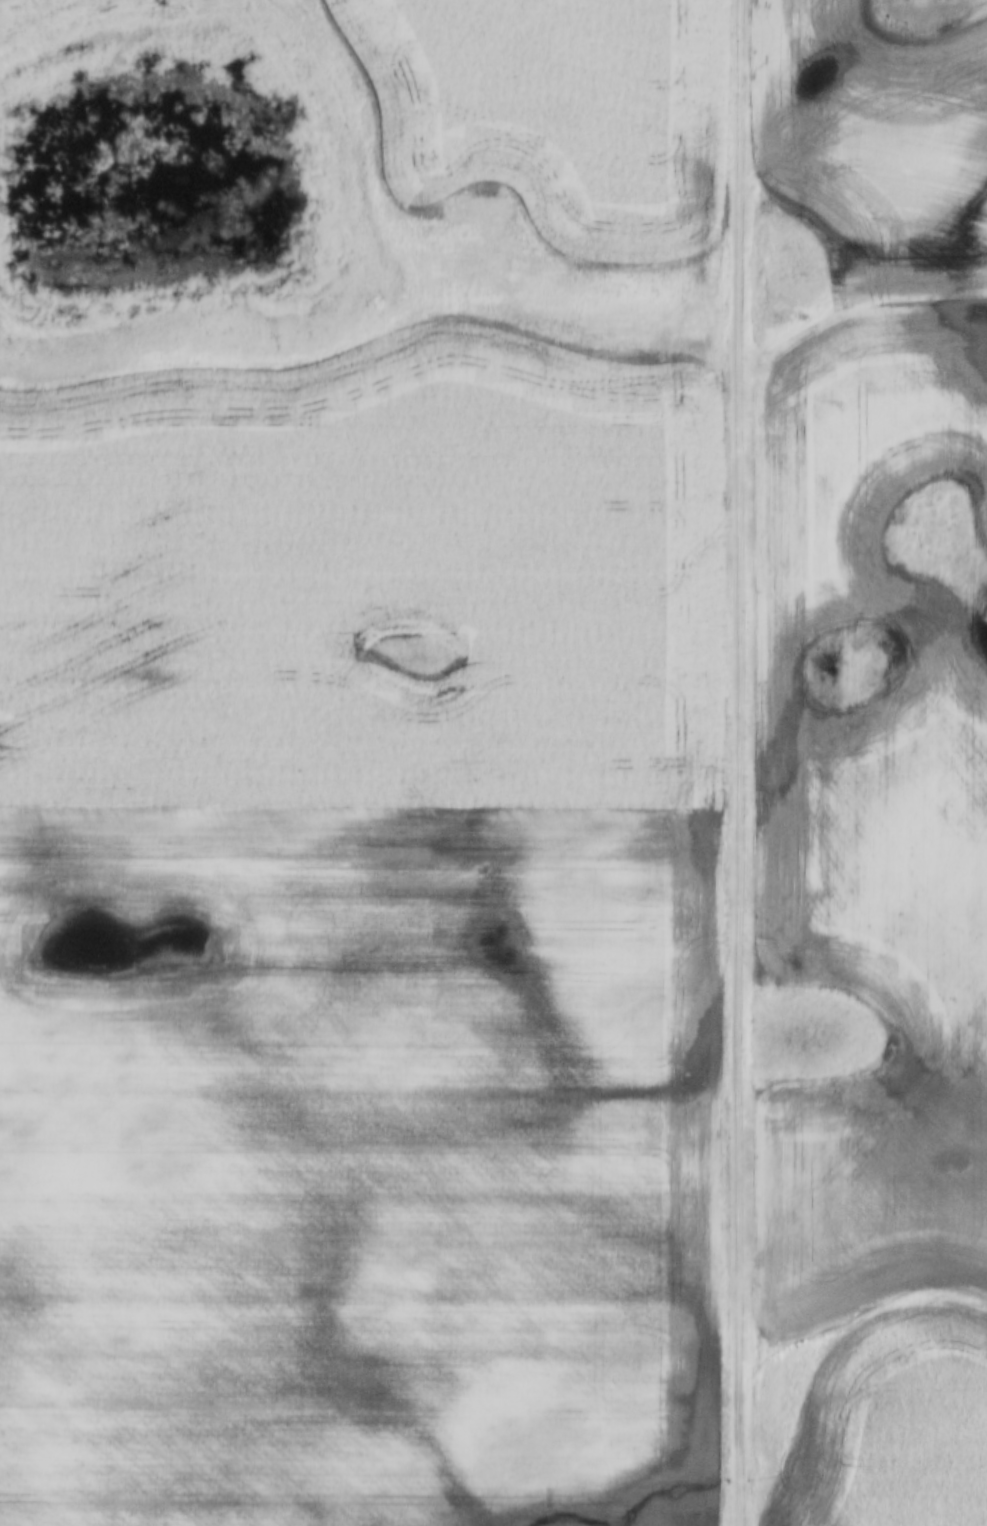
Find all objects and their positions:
road: (772, 763)

